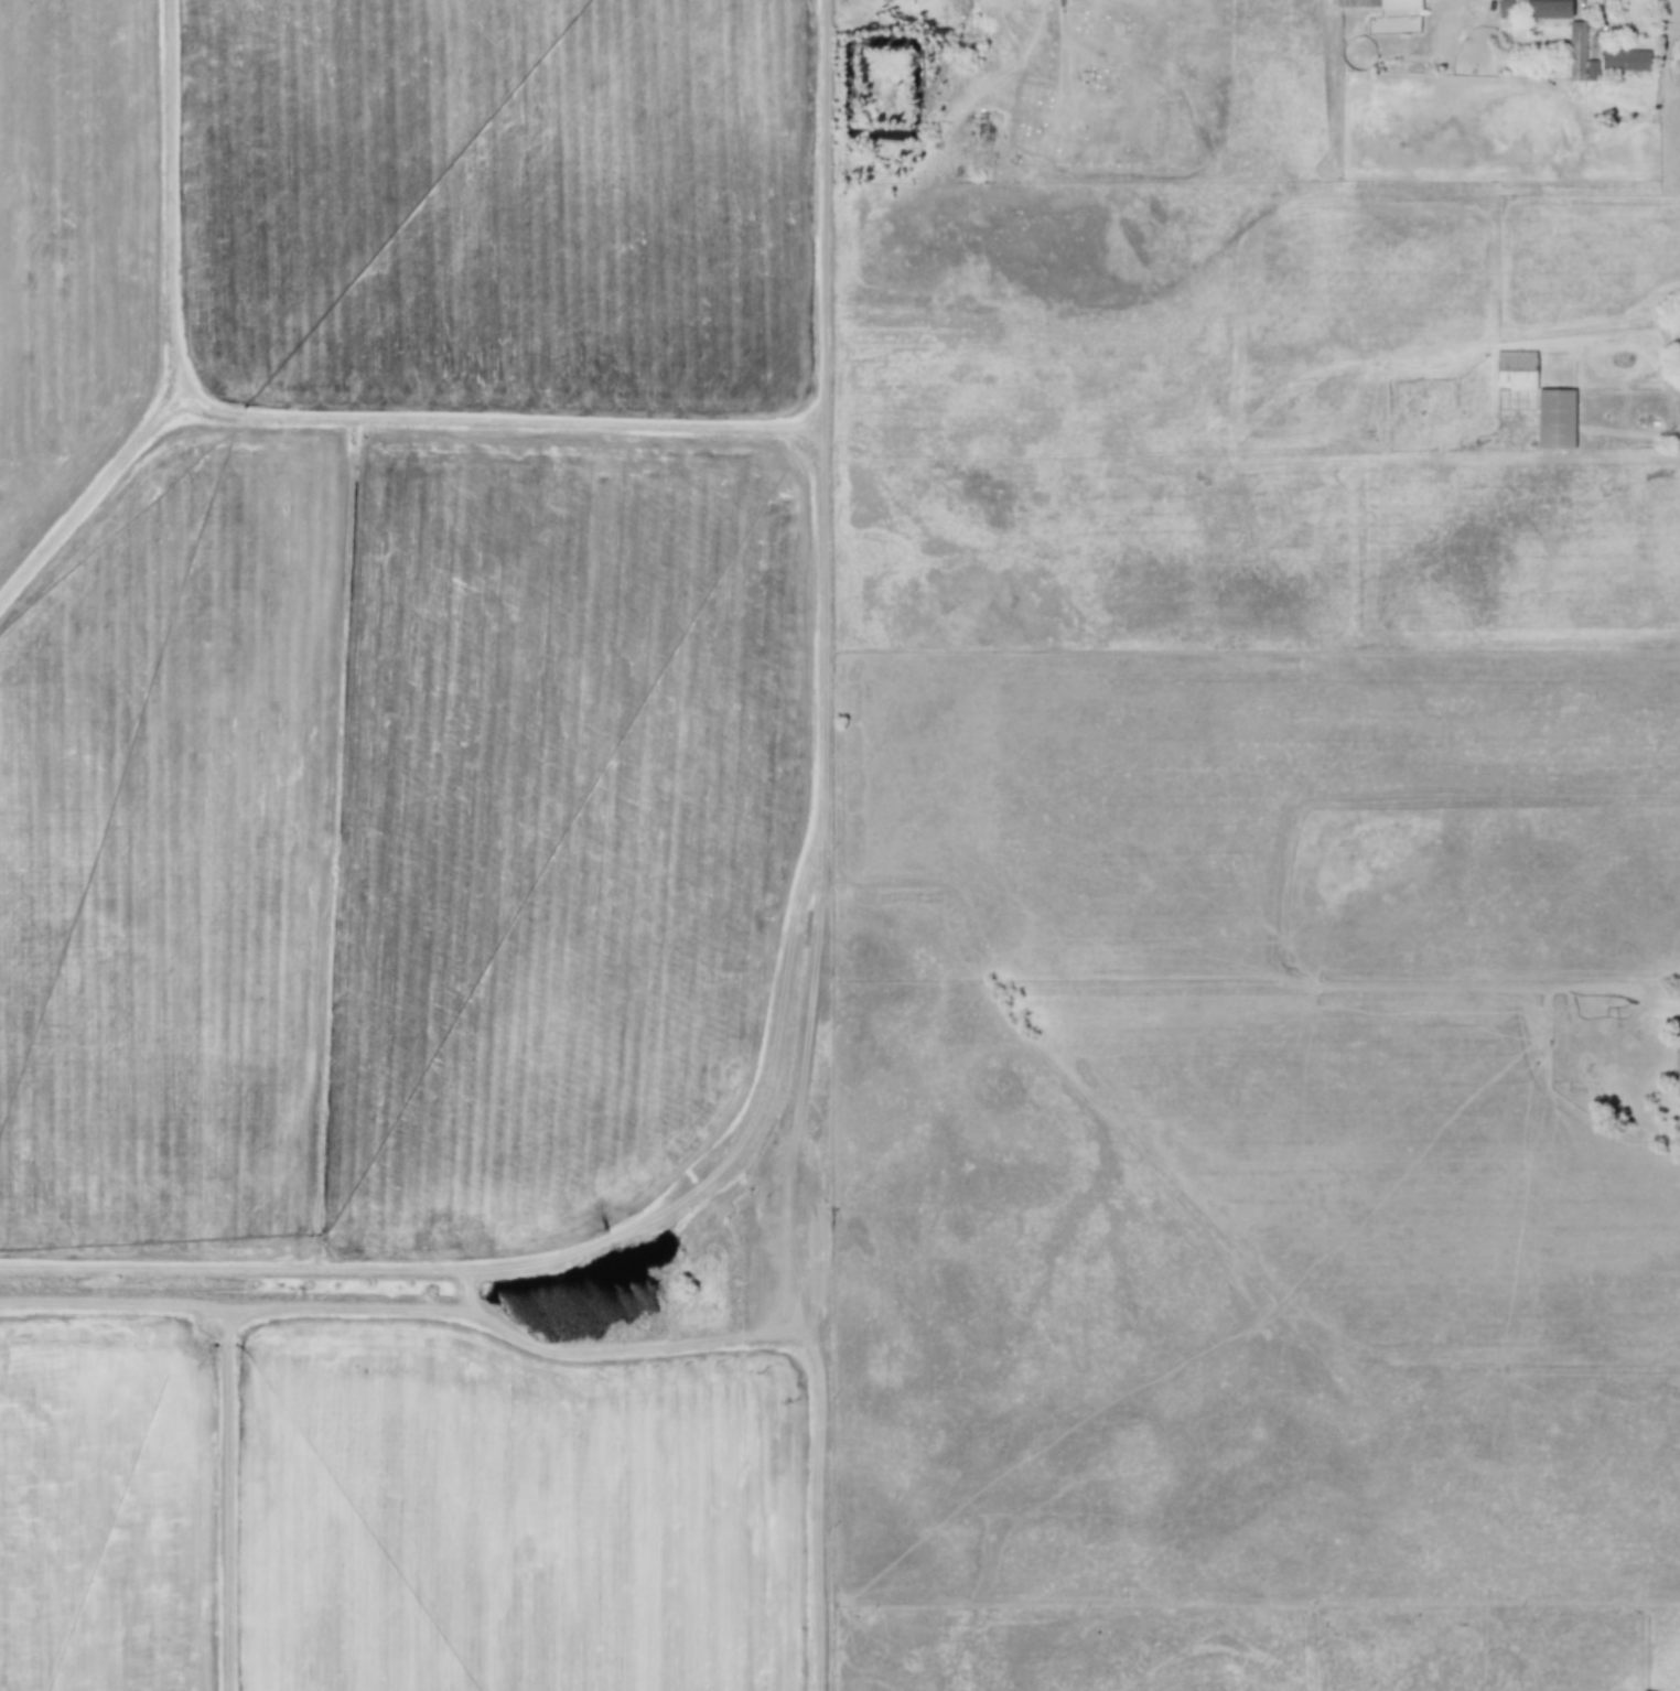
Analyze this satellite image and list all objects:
building: (1378, 3)
building: (1550, 9)
building: (1576, 42)
building: (1625, 60)
building: (1515, 370)
building: (1555, 419)

